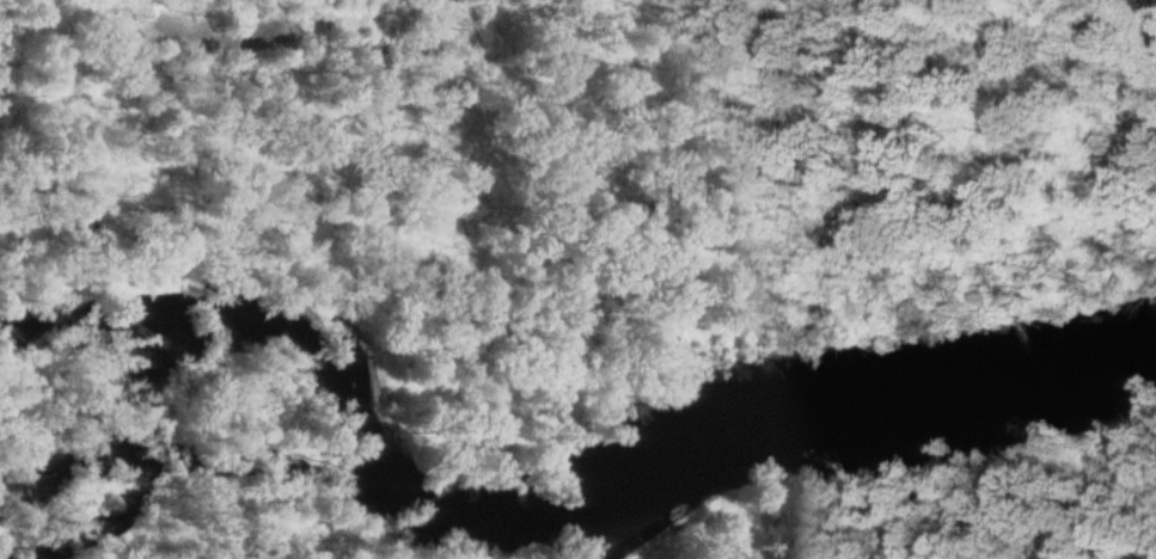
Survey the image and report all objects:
park: (591, 179)
river: (543, 506)

